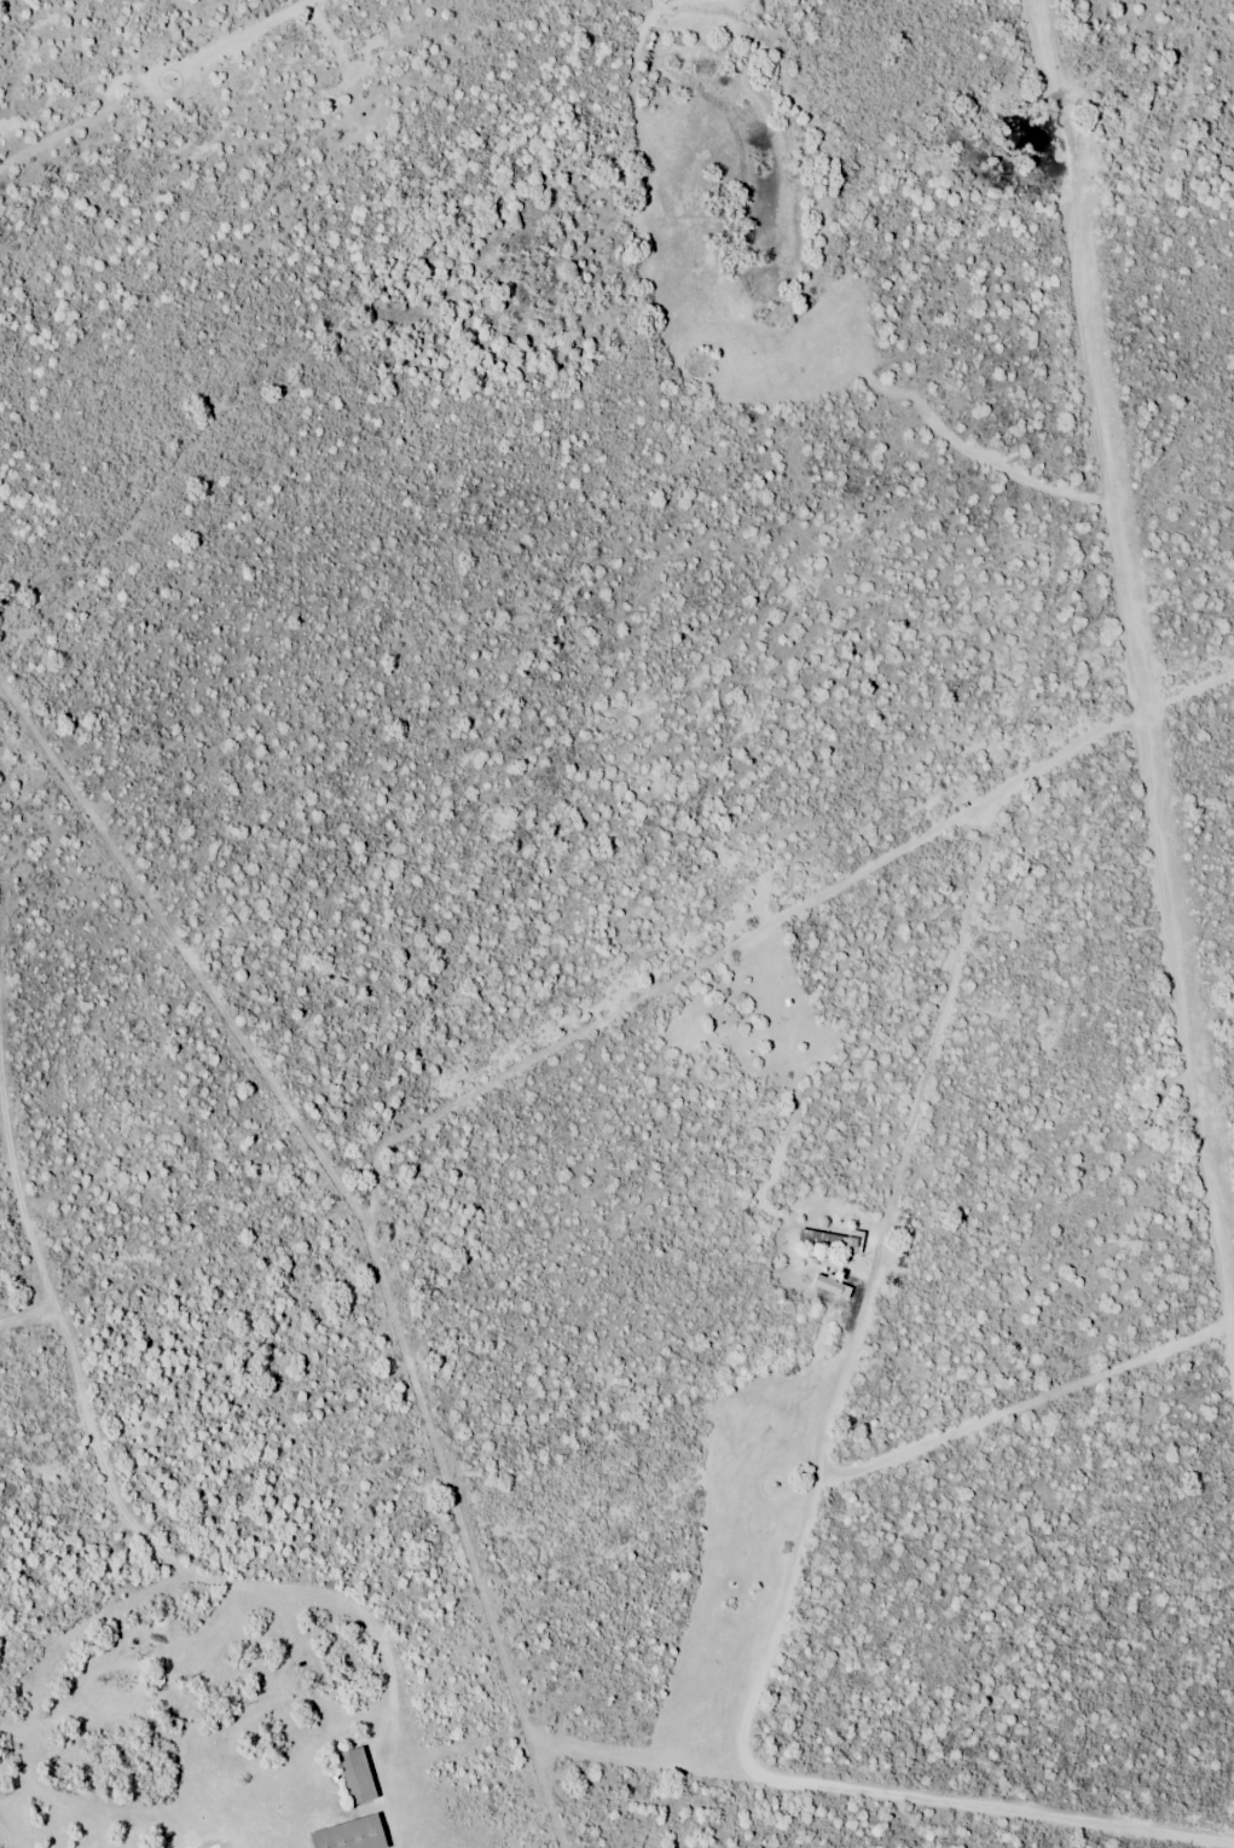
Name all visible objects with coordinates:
building: (833, 1240)
road: (285, 1708)
building: (355, 1777)
building: (349, 1835)

